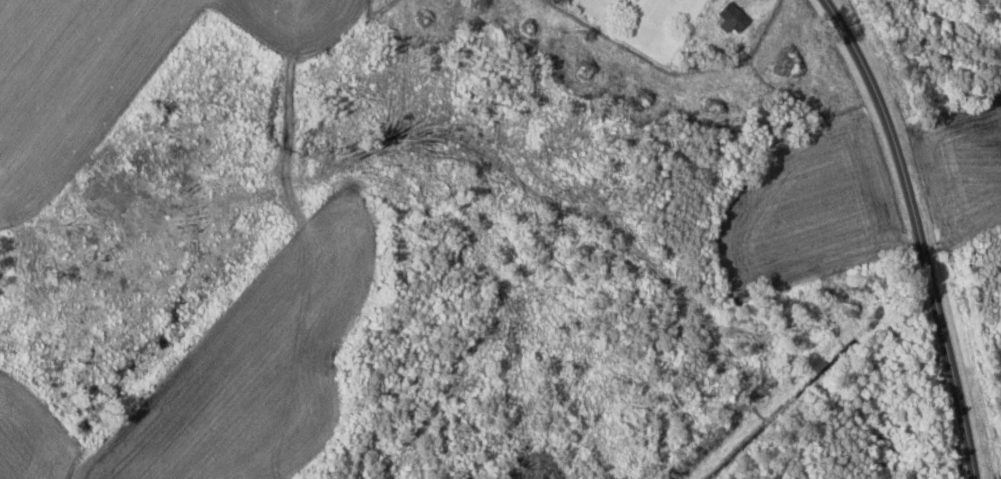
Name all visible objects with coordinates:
road: (918, 232)

